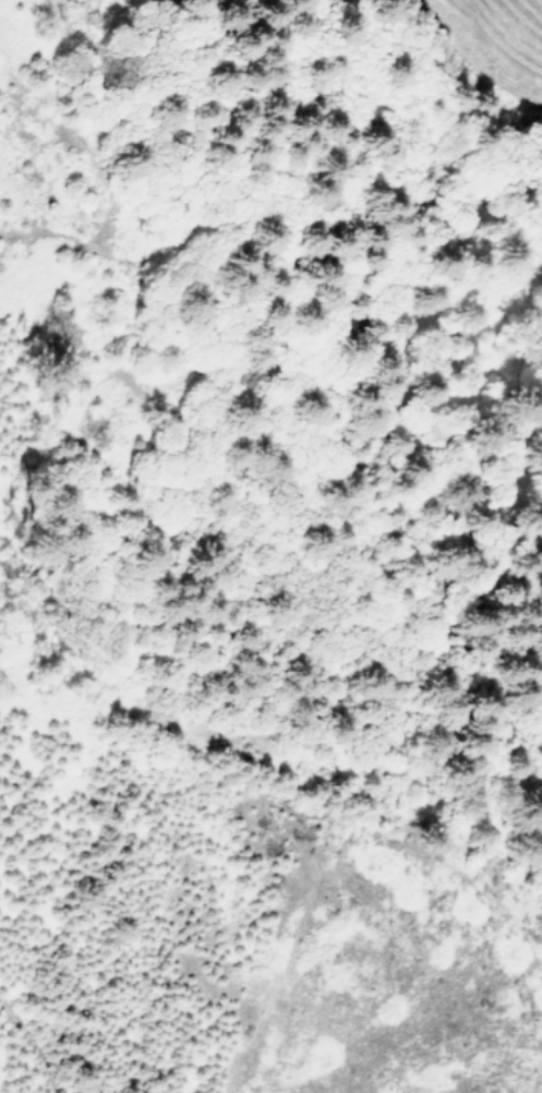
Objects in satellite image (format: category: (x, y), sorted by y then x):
crop: (486, 32)

